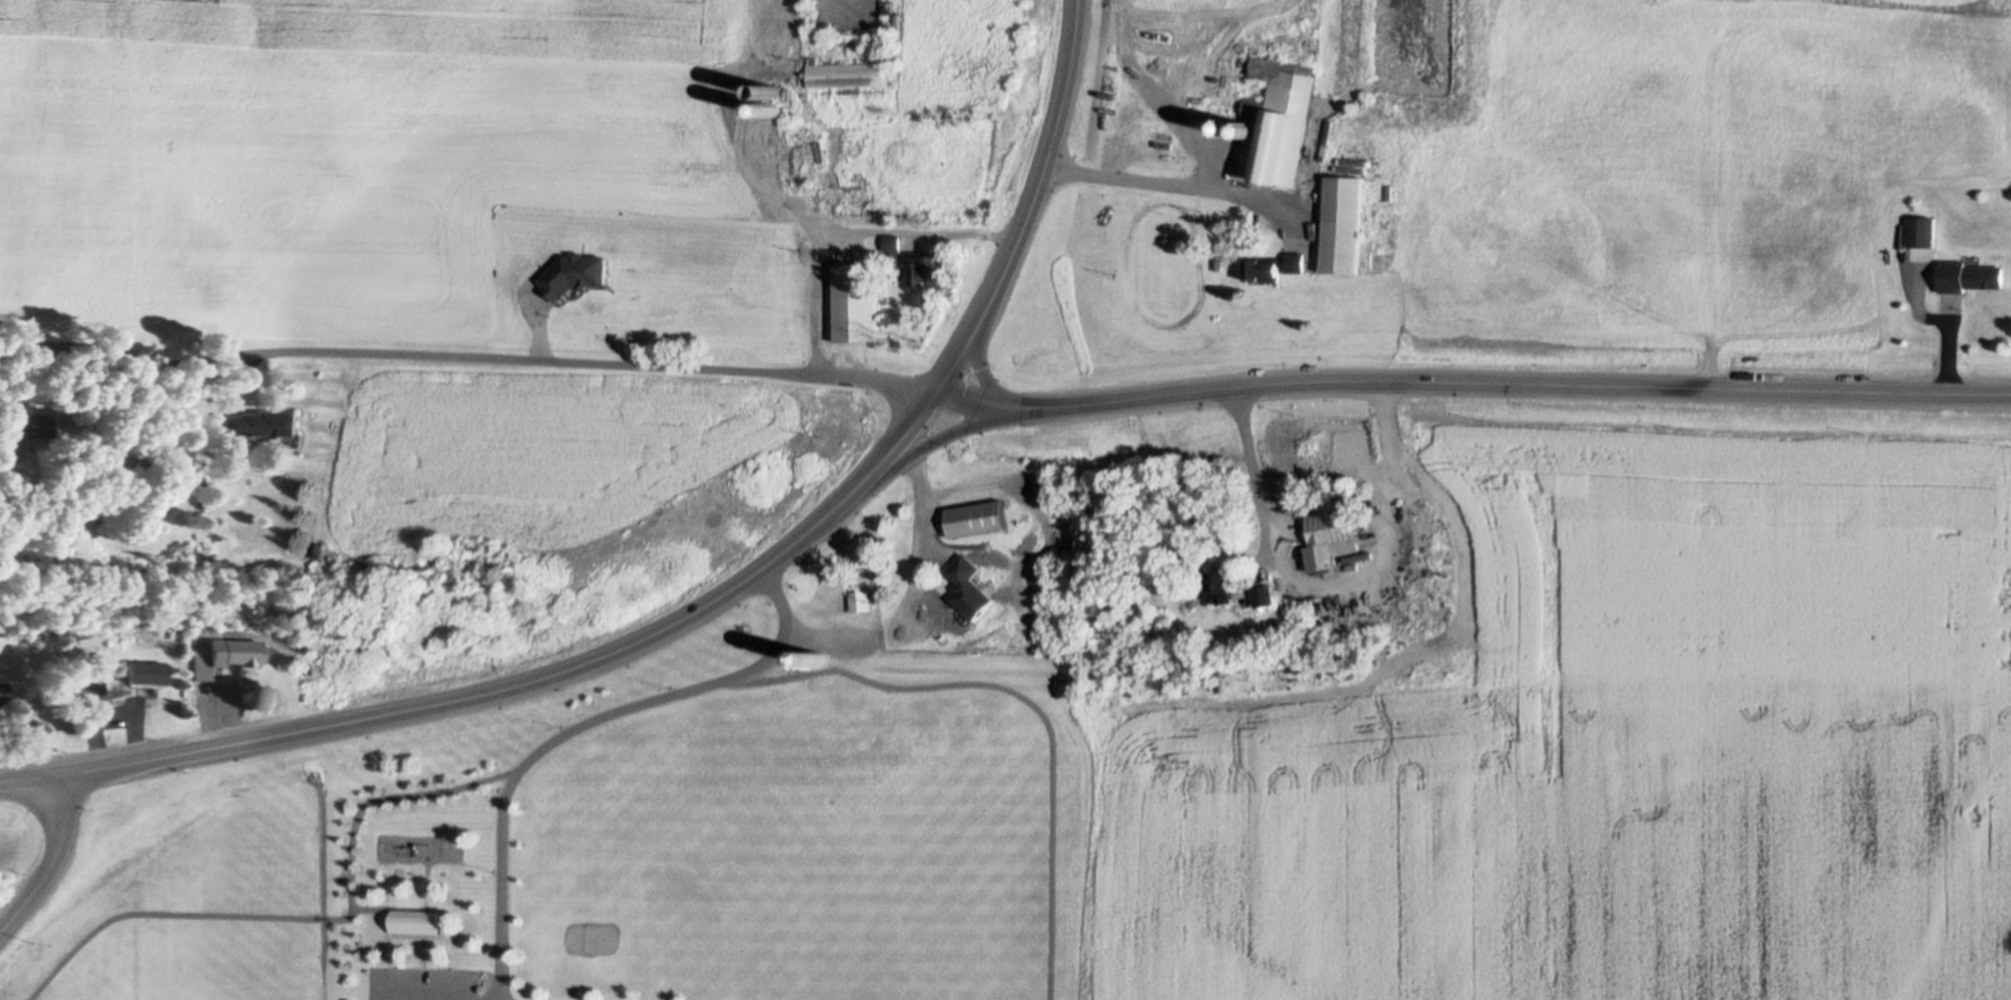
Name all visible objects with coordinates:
building: (846, 73)
building: (772, 90)
road: (1158, 96)
building: (772, 108)
building: (1281, 119)
building: (1232, 126)
building: (1249, 130)
building: (789, 154)
road: (745, 171)
road: (1173, 182)
road: (1033, 206)
building: (848, 210)
building: (1344, 223)
road: (851, 230)
building: (1921, 231)
building: (891, 242)
building: (933, 242)
building: (1217, 263)
building: (1274, 266)
building: (927, 268)
building: (1969, 275)
building: (854, 303)
road: (465, 359)
road: (985, 382)
road: (1469, 383)
building: (262, 422)
building: (25, 424)
road: (907, 453)
building: (975, 518)
road: (913, 530)
building: (1330, 532)
building: (1362, 567)
road: (1335, 582)
building: (1221, 585)
building: (1265, 596)
building: (860, 600)
building: (928, 610)
building: (245, 650)
building: (818, 657)
building: (305, 668)
building: (149, 670)
building: (85, 679)
road: (547, 679)
building: (4, 691)
road: (1024, 699)
road: (574, 726)
crop: (1620, 733)
road: (34, 780)
park: (719, 833)
road: (53, 862)
road: (423, 883)
park: (185, 891)
road: (370, 906)
road: (307, 916)
building: (415, 920)
road: (421, 967)

